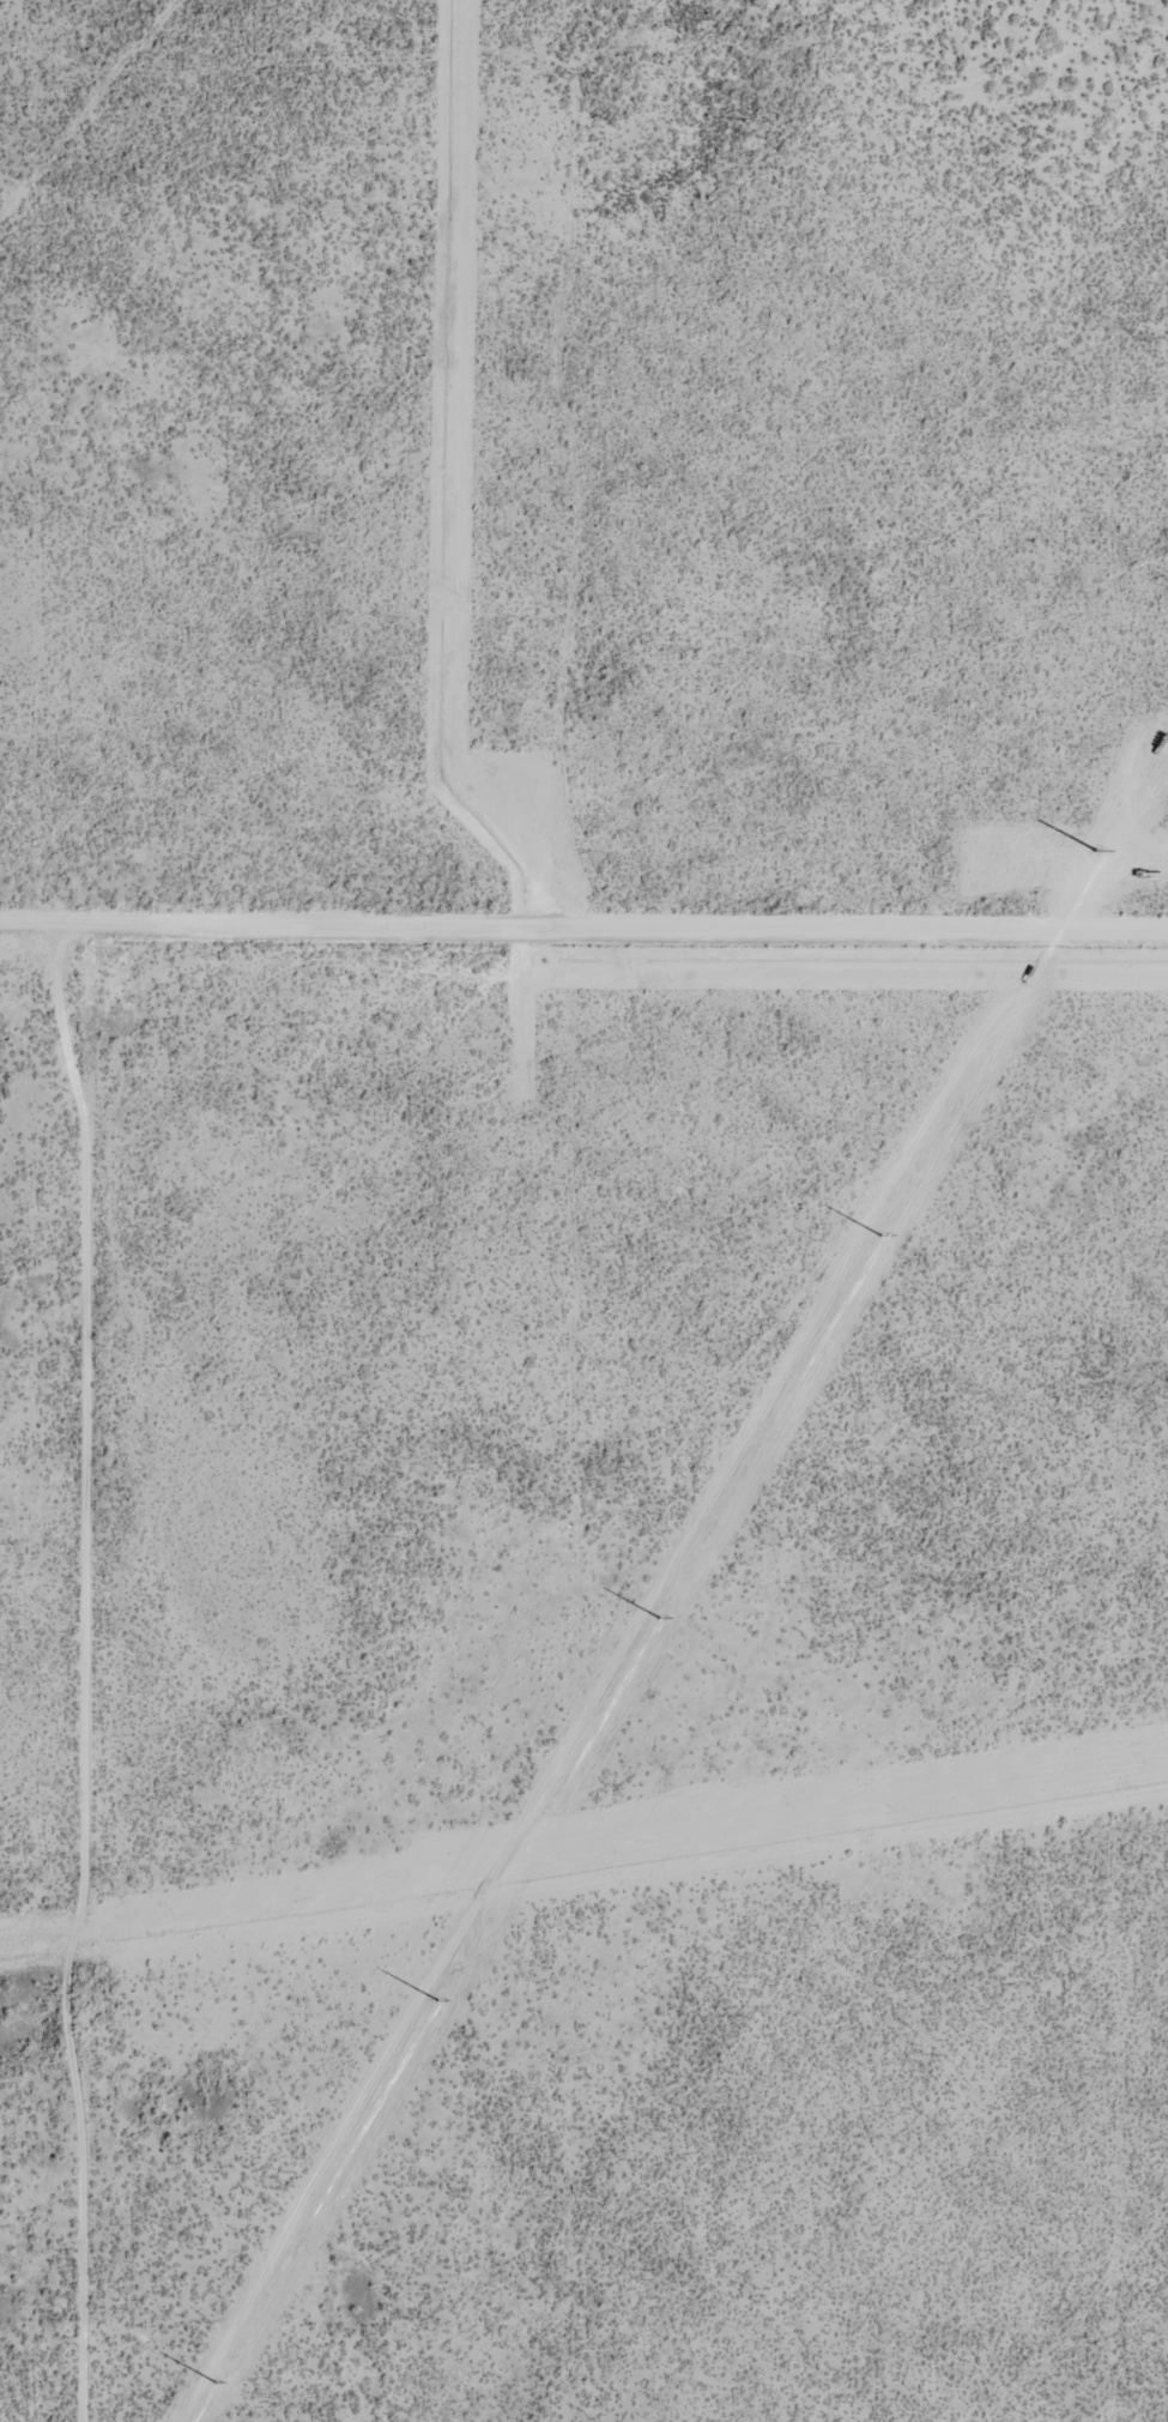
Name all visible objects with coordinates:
power tower: (1096, 852)
road: (583, 938)
power tower: (883, 1237)
power tower: (661, 1620)
power tower: (440, 2001)
power tower: (217, 2385)

